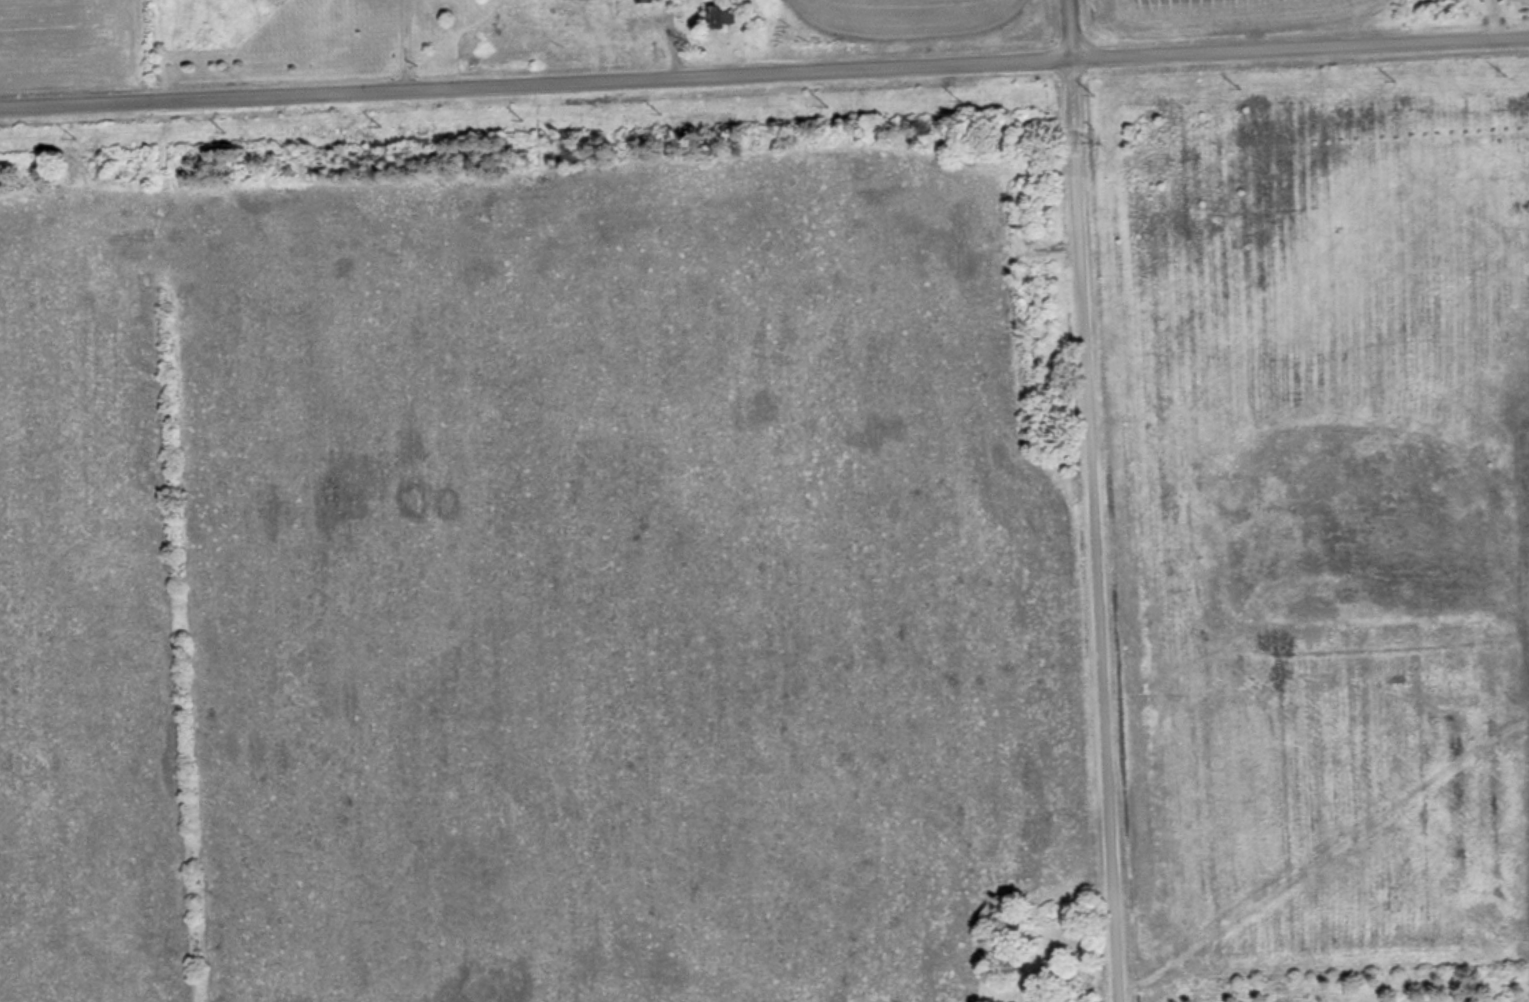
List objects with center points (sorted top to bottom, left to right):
building: (567, 0)
building: (718, 17)
road: (764, 72)
road: (1091, 501)

